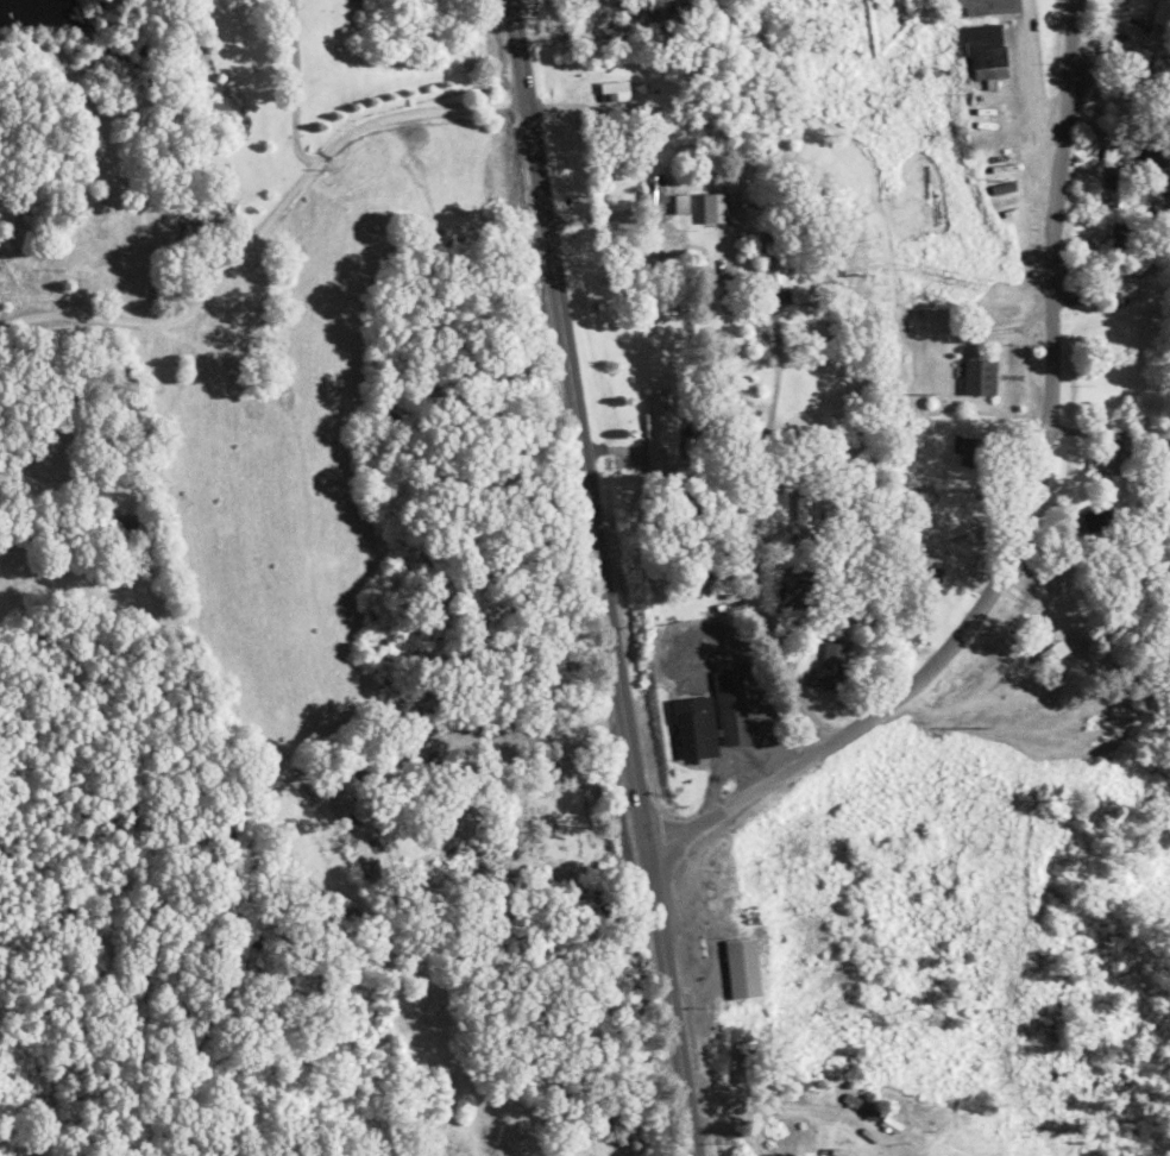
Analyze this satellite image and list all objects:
building: (986, 6)
building: (1162, 12)
building: (987, 51)
road: (1088, 58)
building: (1136, 69)
road: (296, 86)
building: (615, 90)
road: (1008, 118)
building: (1120, 186)
building: (654, 200)
building: (681, 202)
building: (721, 206)
road: (264, 224)
building: (1121, 231)
building: (774, 256)
building: (1121, 283)
building: (980, 377)
power tower: (925, 394)
road: (577, 422)
building: (658, 426)
building: (1114, 456)
road: (1024, 515)
building: (809, 517)
building: (1099, 519)
road: (751, 524)
building: (910, 554)
building: (711, 564)
building: (1089, 566)
building: (1053, 652)
building: (826, 668)
building: (731, 706)
power tower: (980, 725)
building: (697, 728)
building: (743, 968)
road: (790, 970)
road: (663, 1001)
building: (836, 1151)

